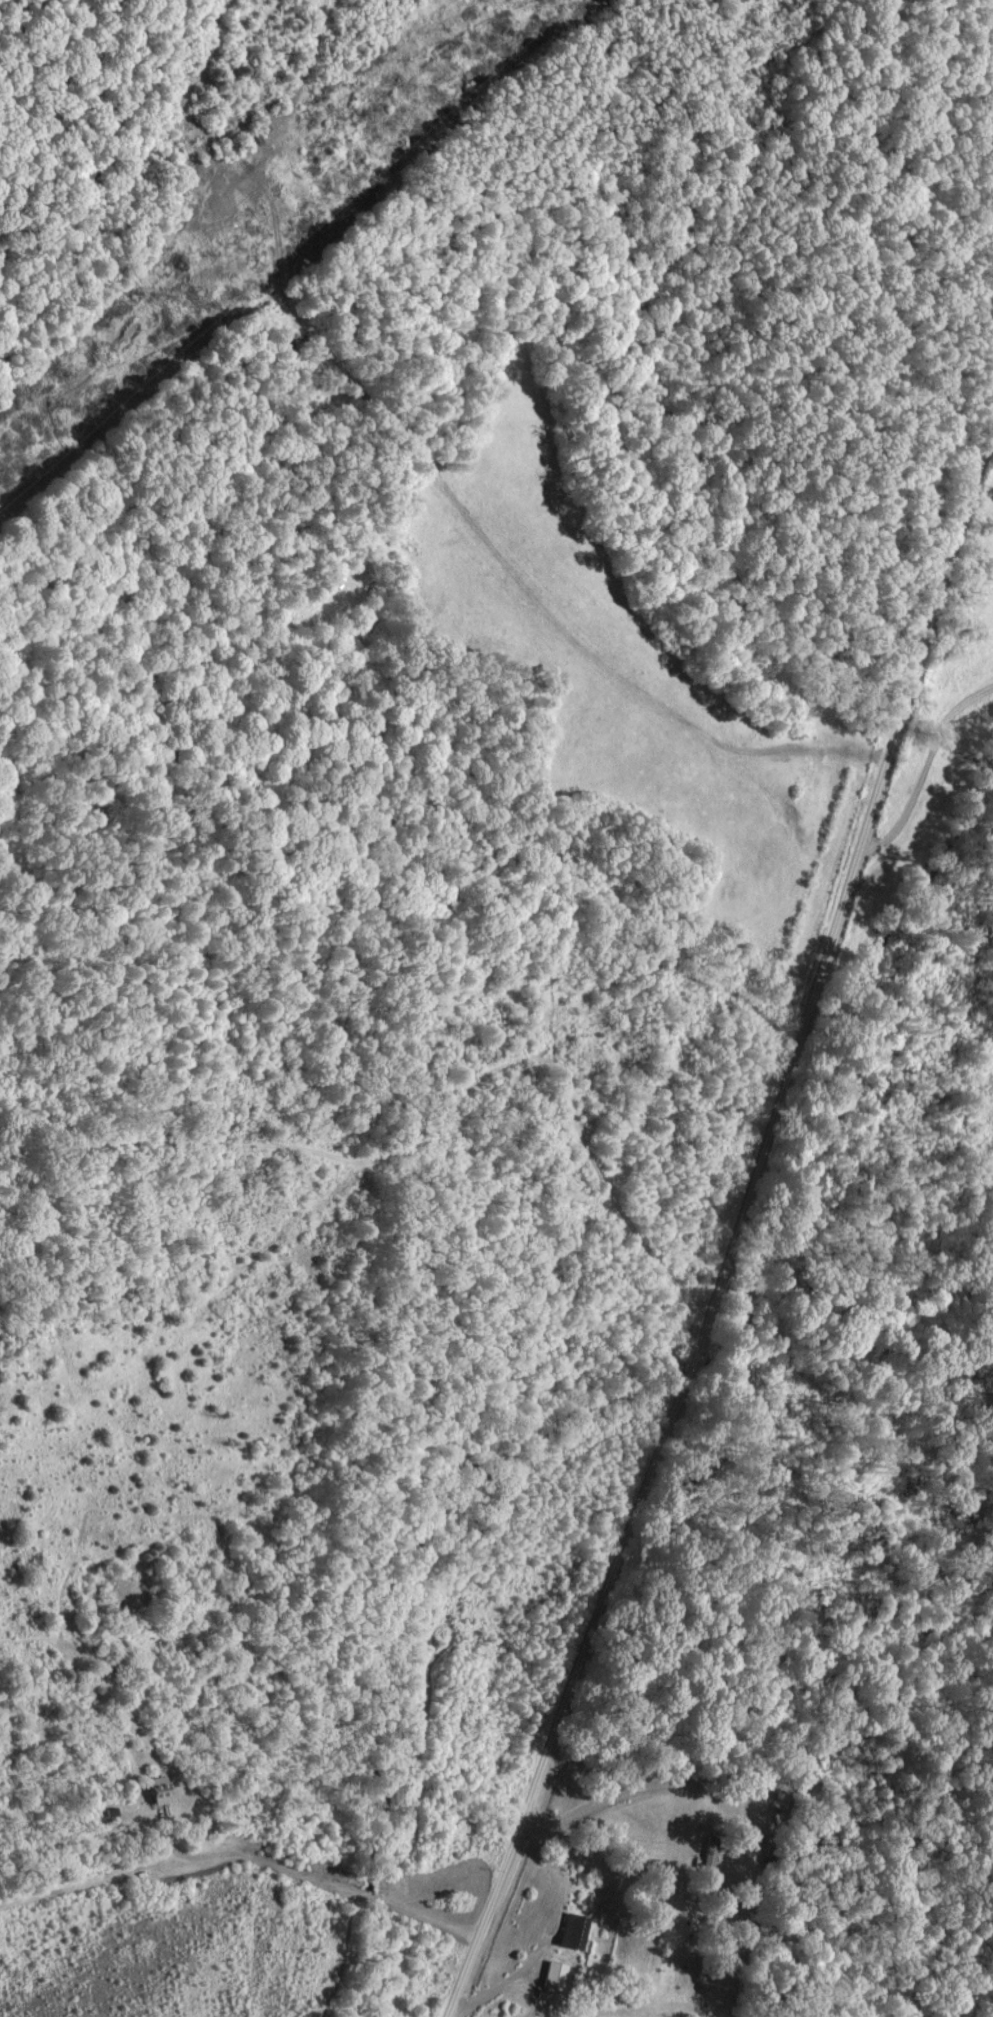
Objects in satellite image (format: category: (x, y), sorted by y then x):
power tower: (182, 303)
road: (730, 1230)
building: (155, 1790)
building: (571, 1932)
building: (555, 1974)

